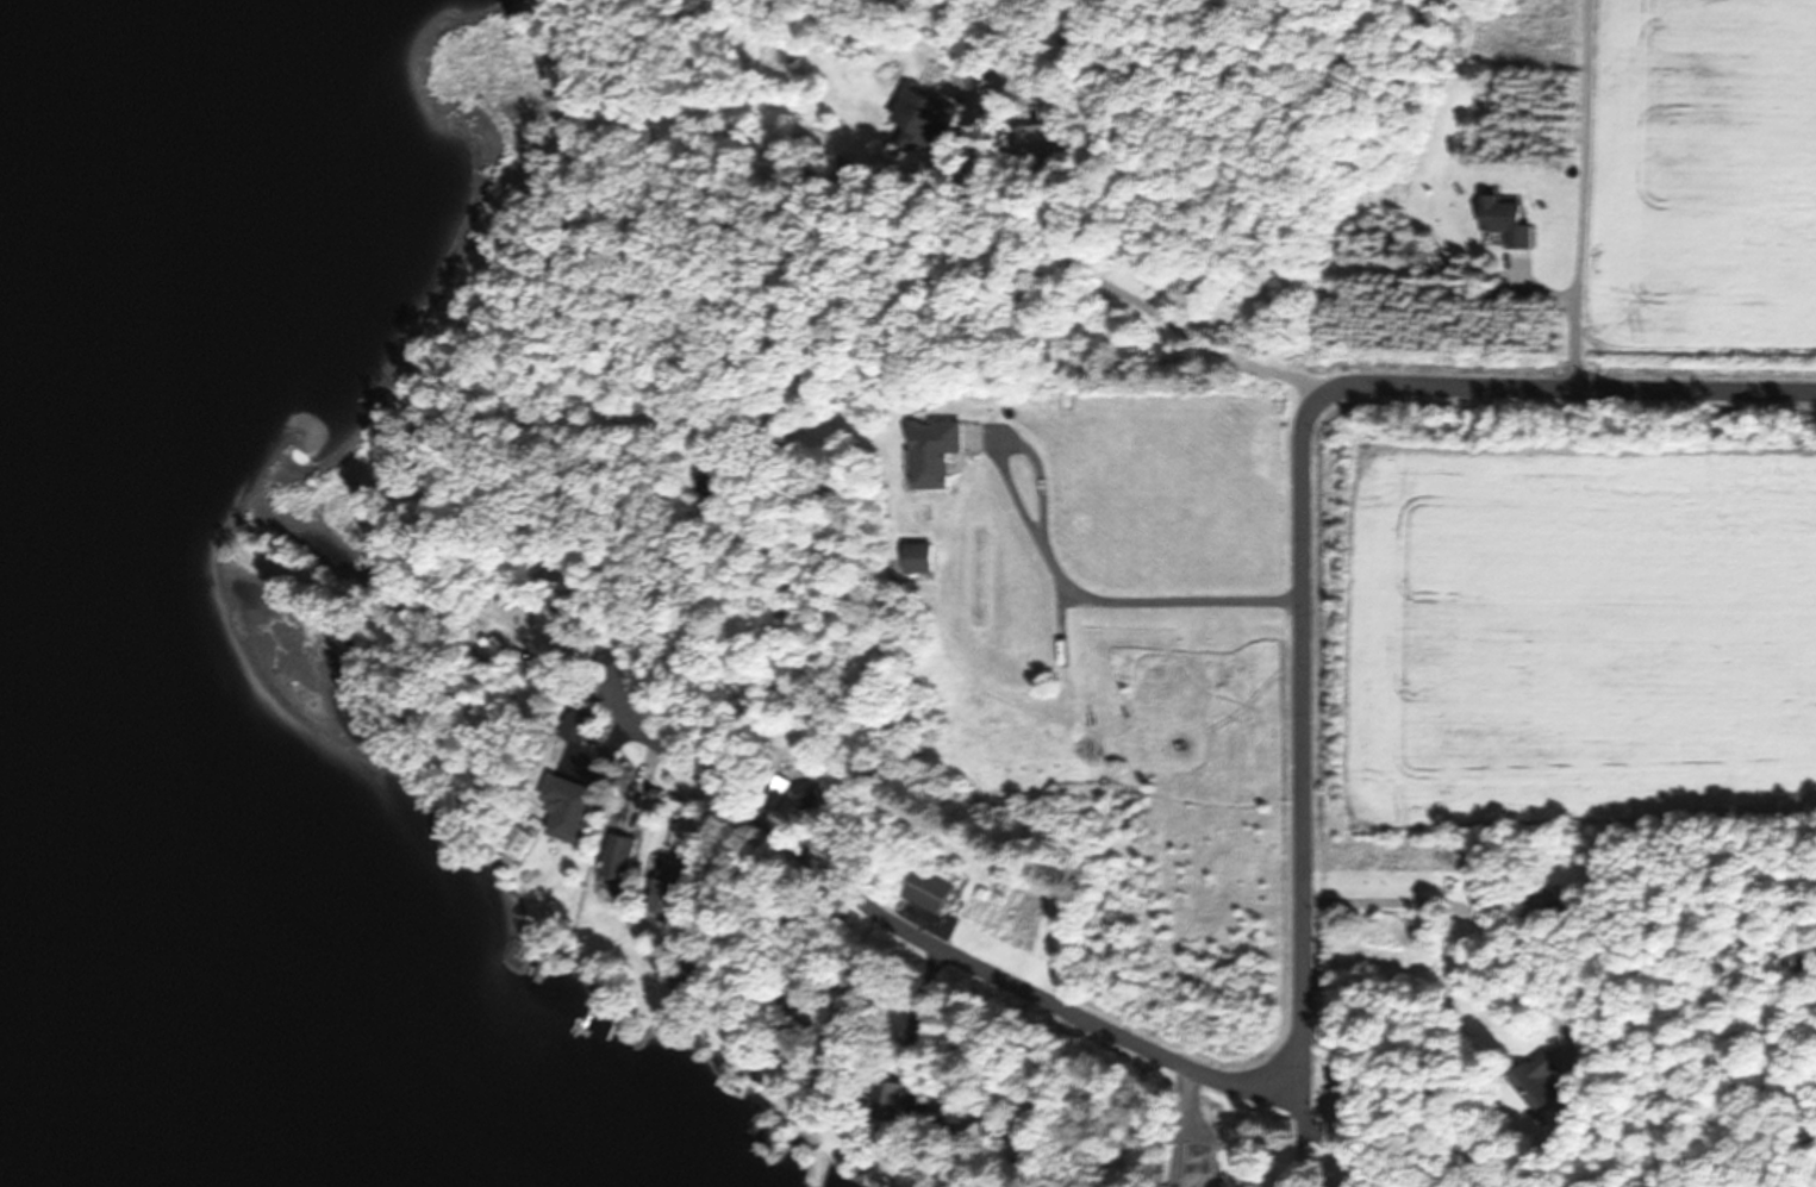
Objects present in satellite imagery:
building: (921, 119)
building: (1040, 140)
crop: (1700, 189)
building: (1510, 220)
building: (1134, 254)
building: (937, 452)
building: (919, 558)
crop: (1564, 608)
building: (576, 726)
building: (809, 794)
building: (570, 807)
building: (622, 857)
building: (670, 887)
building: (932, 892)
building: (1548, 904)
road: (1305, 930)
building: (1540, 1083)
building: (893, 1100)
building: (948, 1110)

